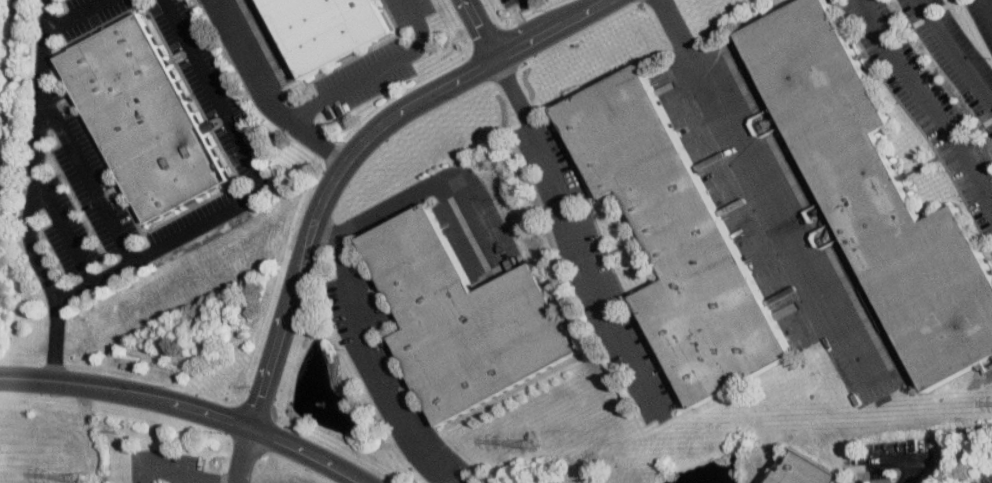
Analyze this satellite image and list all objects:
road: (989, 5)
road: (83, 16)
building: (329, 29)
road: (475, 31)
road: (954, 52)
road: (254, 65)
road: (351, 83)
road: (927, 101)
road: (8, 107)
building: (149, 116)
road: (38, 150)
road: (352, 151)
road: (91, 174)
building: (876, 186)
road: (427, 187)
road: (762, 189)
road: (254, 197)
road: (575, 230)
building: (678, 237)
building: (463, 315)
road: (56, 337)
road: (370, 353)
road: (187, 407)
power tower: (529, 444)
road: (243, 454)
road: (905, 457)
building: (807, 469)
power tower: (86, 474)
road: (203, 478)

